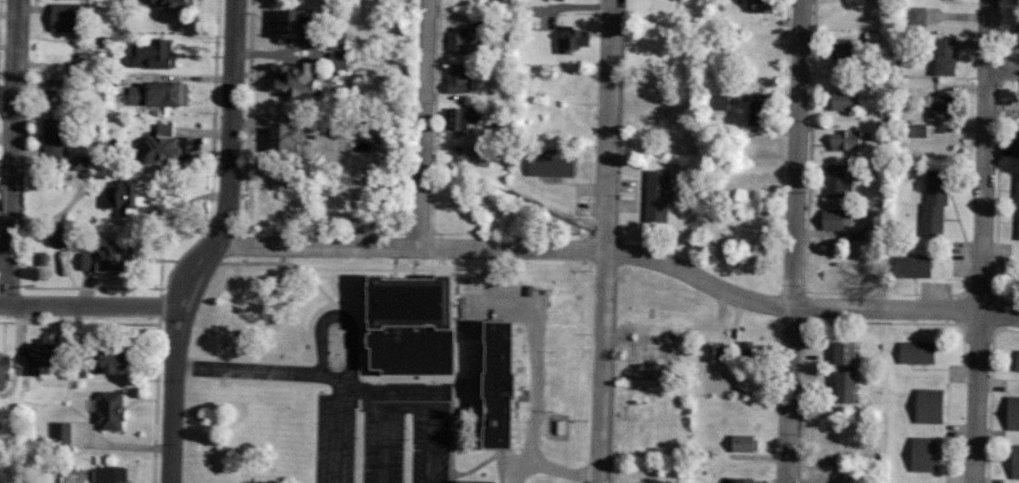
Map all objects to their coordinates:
building: (176, 3)
building: (916, 15)
building: (71, 17)
building: (299, 23)
building: (1015, 36)
building: (570, 38)
building: (458, 41)
building: (339, 45)
building: (836, 47)
building: (154, 54)
building: (943, 56)
building: (342, 59)
road: (1002, 67)
building: (301, 76)
building: (456, 78)
building: (57, 90)
building: (161, 93)
building: (842, 100)
building: (718, 101)
building: (935, 105)
building: (461, 119)
road: (423, 121)
building: (916, 130)
building: (56, 137)
building: (844, 139)
building: (1014, 139)
building: (295, 140)
building: (169, 144)
road: (11, 149)
building: (83, 163)
building: (549, 164)
building: (836, 181)
building: (654, 196)
building: (134, 197)
building: (387, 202)
building: (1016, 203)
building: (932, 206)
building: (832, 219)
road: (606, 241)
road: (792, 241)
road: (980, 241)
road: (211, 244)
road: (622, 246)
building: (120, 258)
building: (92, 260)
building: (910, 266)
road: (90, 300)
road: (340, 310)
building: (425, 323)
building: (750, 352)
building: (913, 352)
building: (711, 353)
building: (839, 353)
building: (46, 354)
building: (124, 358)
building: (1015, 362)
building: (6, 368)
road: (327, 370)
building: (515, 384)
building: (840, 387)
road: (537, 396)
building: (923, 400)
building: (1011, 409)
road: (433, 410)
building: (114, 411)
parking lot: (401, 427)
building: (63, 432)
building: (748, 442)
building: (919, 449)
building: (1014, 457)
road: (560, 470)
building: (111, 474)
building: (747, 480)
building: (483, 481)

